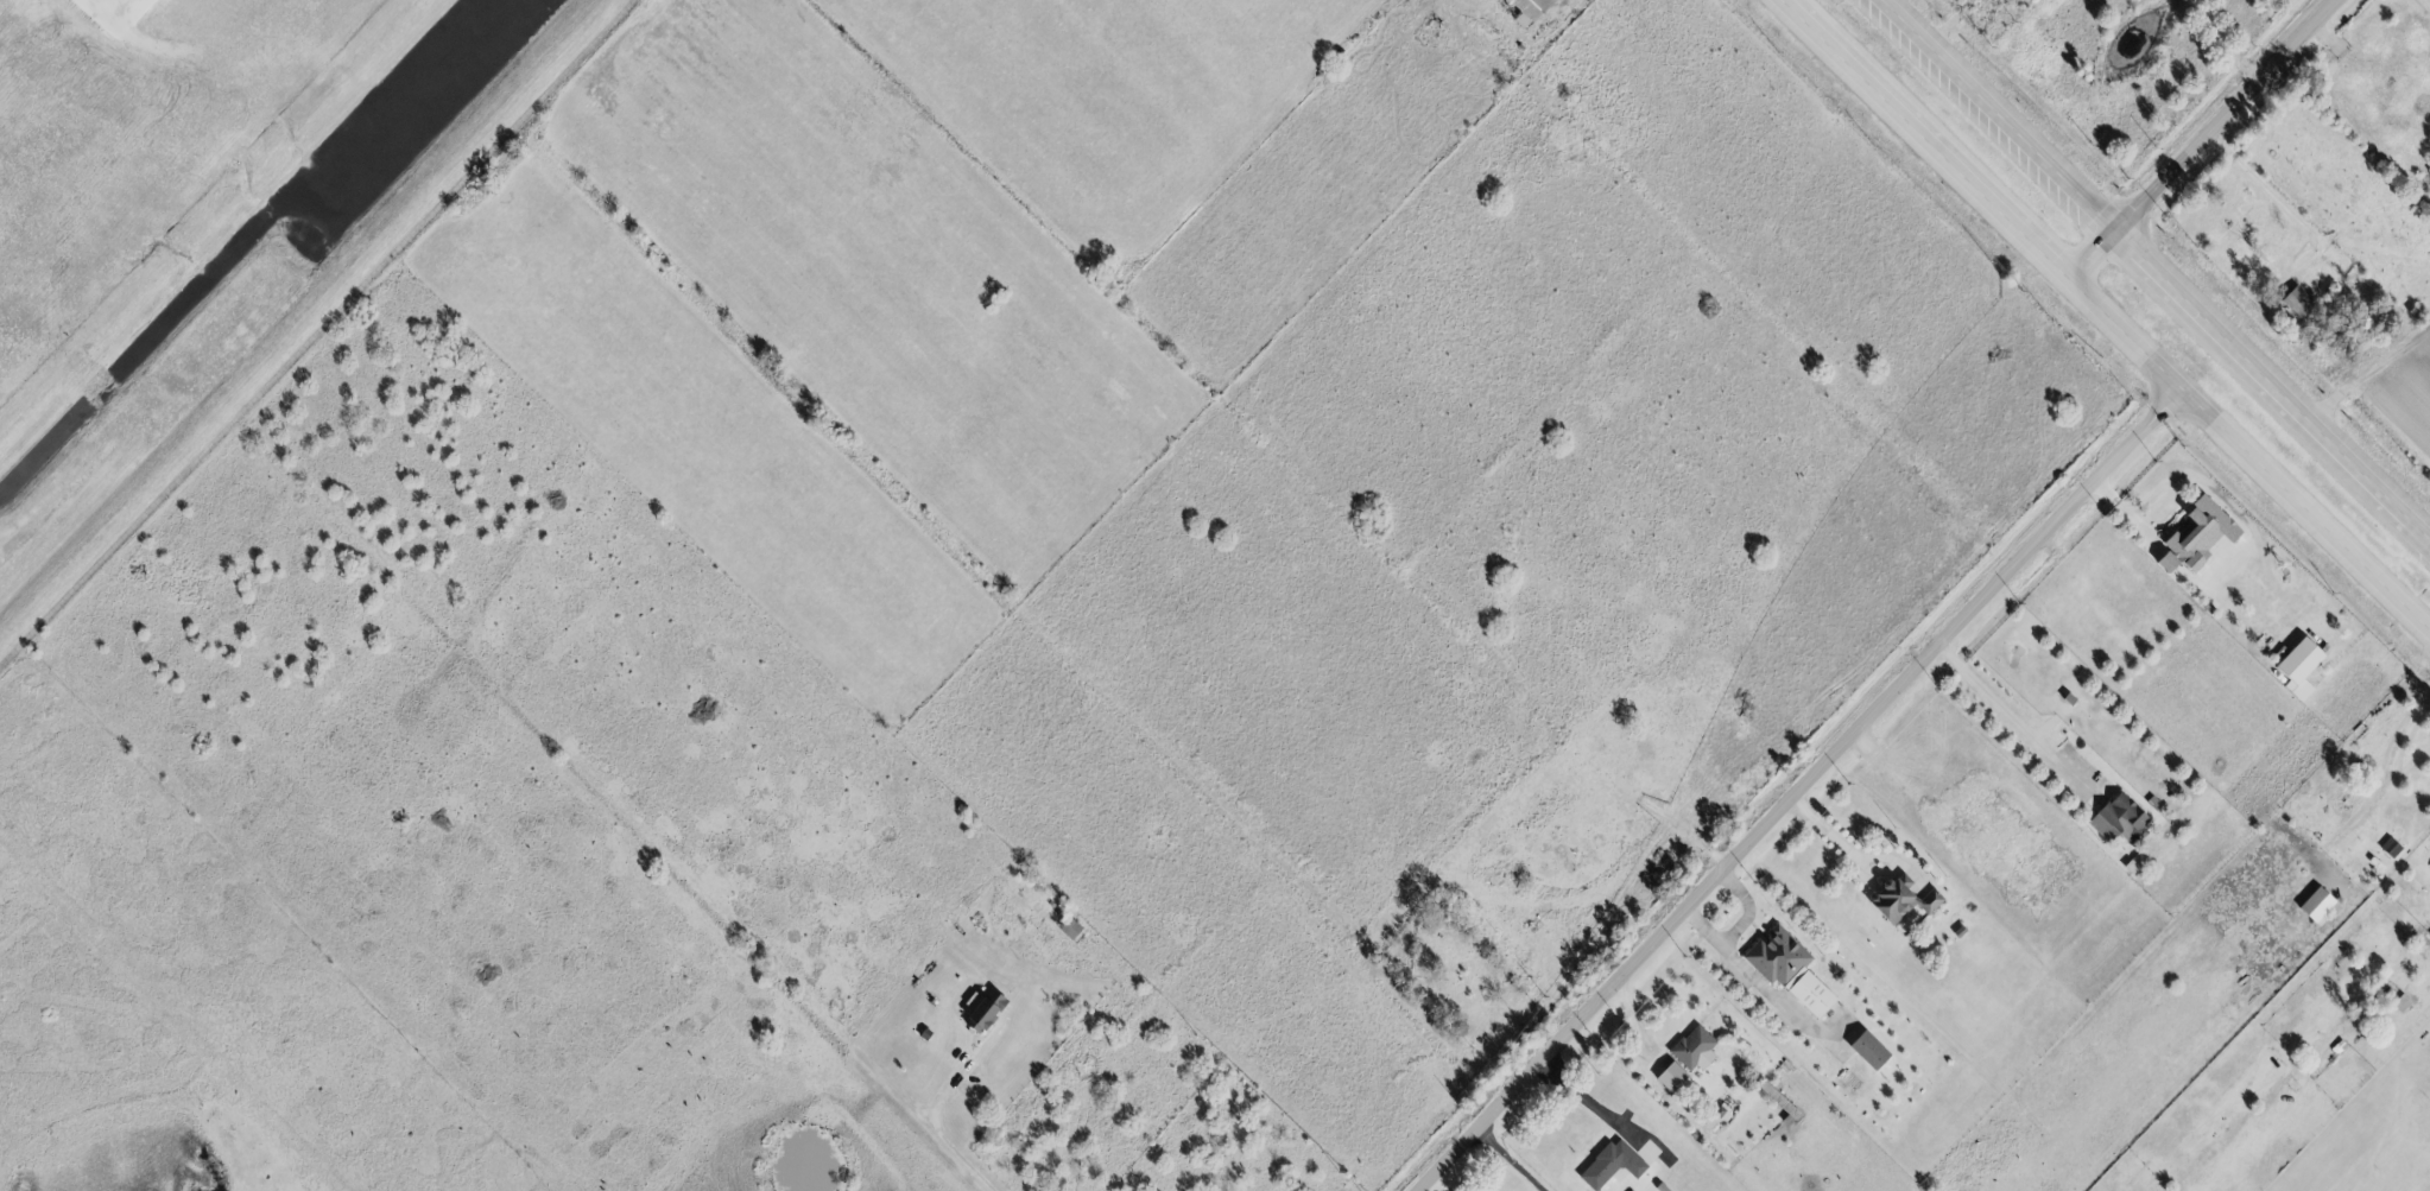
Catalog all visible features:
building: (1526, 11)
building: (119, 12)
road: (2002, 110)
road: (2200, 141)
road: (1980, 198)
building: (2293, 302)
road: (2274, 374)
crop: (2404, 392)
road: (2306, 518)
building: (2192, 536)
building: (2295, 661)
road: (2011, 717)
road: (1801, 792)
building: (2115, 819)
road: (1833, 837)
building: (2387, 848)
building: (1897, 900)
building: (2312, 906)
building: (1067, 930)
building: (1785, 970)
building: (2400, 1005)
building: (979, 1011)
building: (1690, 1050)
building: (1865, 1051)
building: (1668, 1078)
building: (1773, 1098)
road: (936, 1139)
road: (1513, 1160)
building: (1608, 1166)

